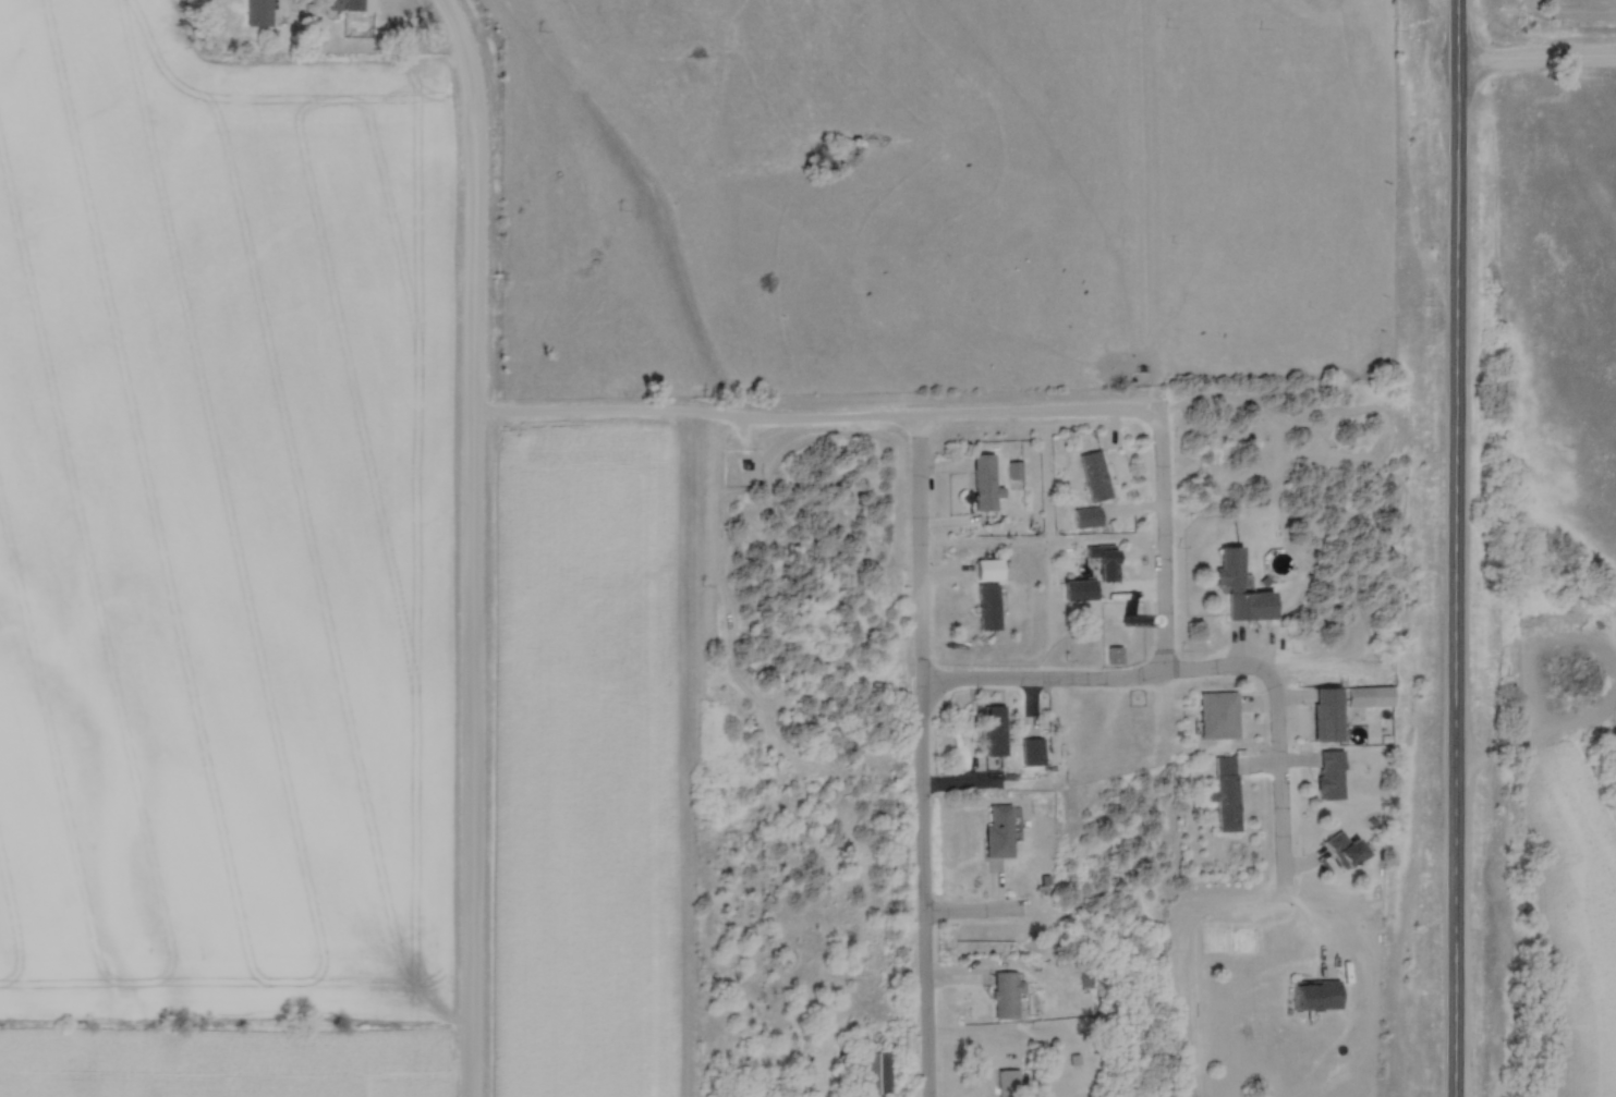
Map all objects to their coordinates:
building: (351, 5)
building: (258, 14)
road: (1536, 64)
road: (1457, 215)
road: (814, 412)
building: (1094, 476)
building: (985, 484)
building: (1086, 517)
road: (1158, 541)
road: (472, 544)
building: (991, 570)
building: (1094, 574)
building: (1241, 588)
building: (988, 607)
building: (1115, 656)
road: (1577, 669)
road: (1090, 671)
building: (1382, 696)
building: (1328, 715)
building: (1218, 716)
building: (994, 731)
building: (1032, 752)
road: (926, 754)
road: (1489, 754)
crop: (580, 761)
road: (1457, 764)
building: (1332, 776)
building: (1226, 794)
road: (1273, 821)
building: (999, 831)
building: (1346, 851)
road: (980, 906)
building: (1007, 996)
building: (1316, 996)
building: (876, 1074)
building: (1008, 1083)

